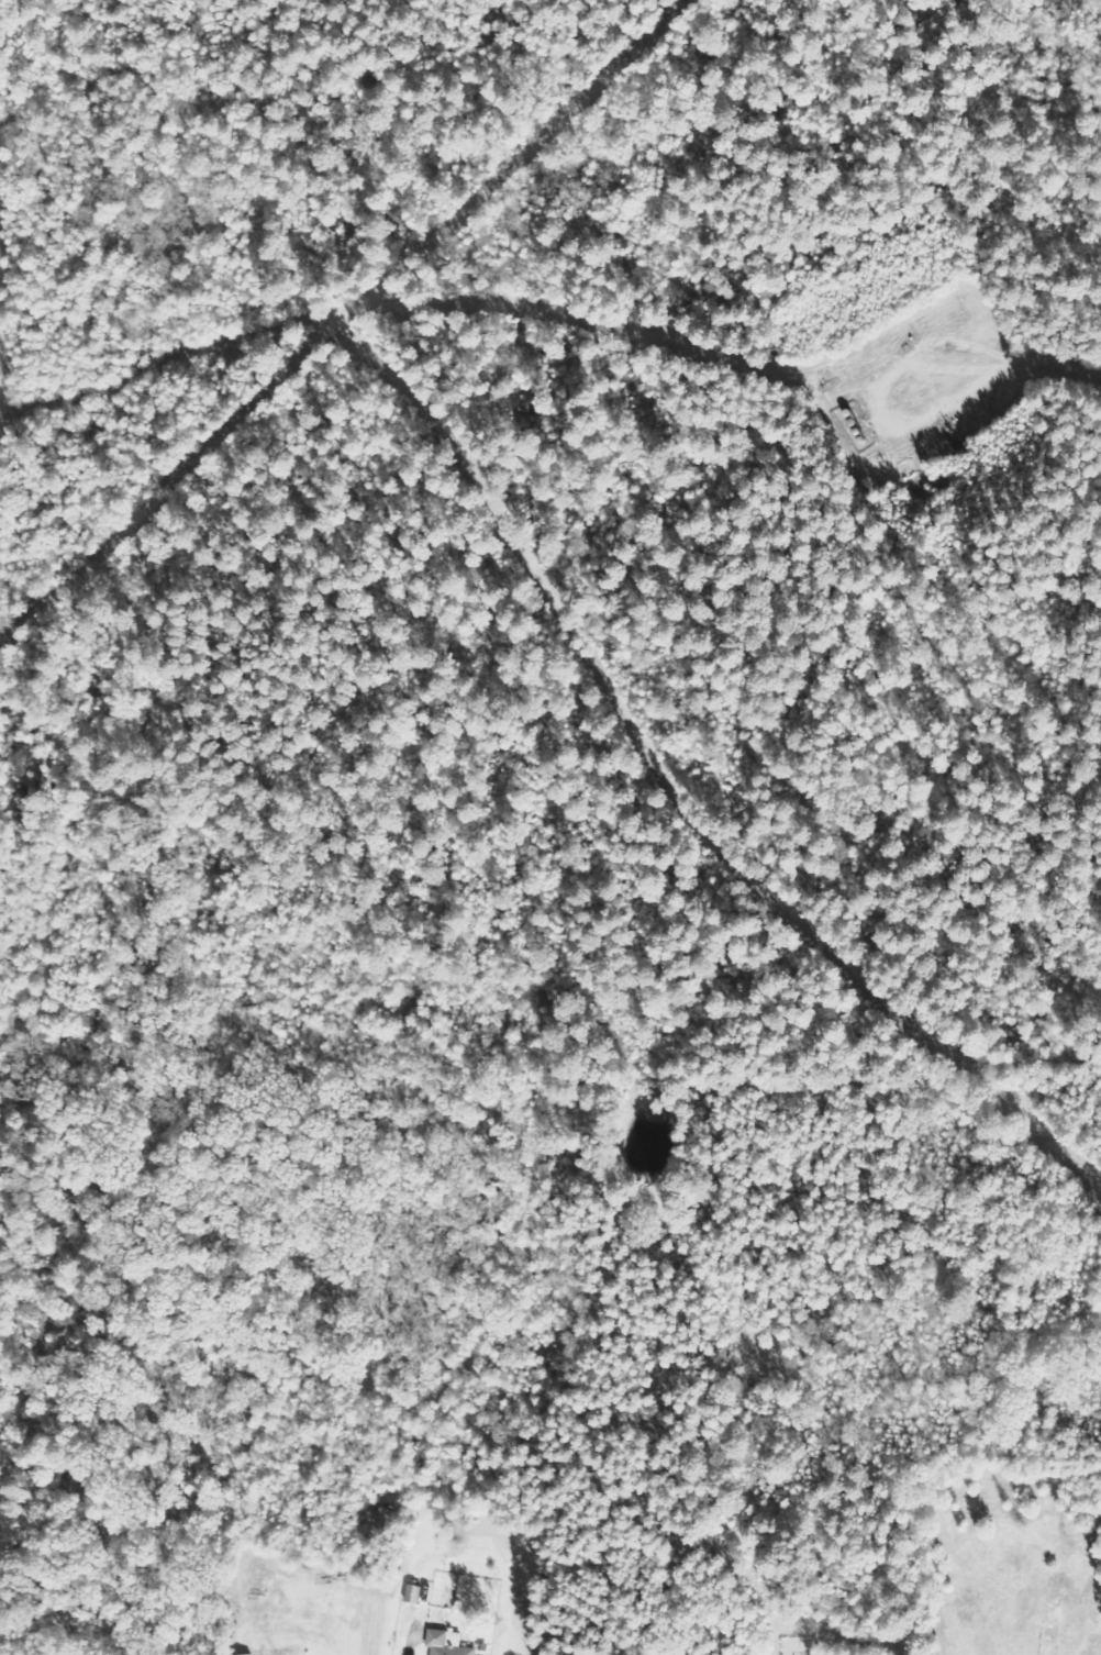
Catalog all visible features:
building: (411, 1593)
building: (446, 1643)

